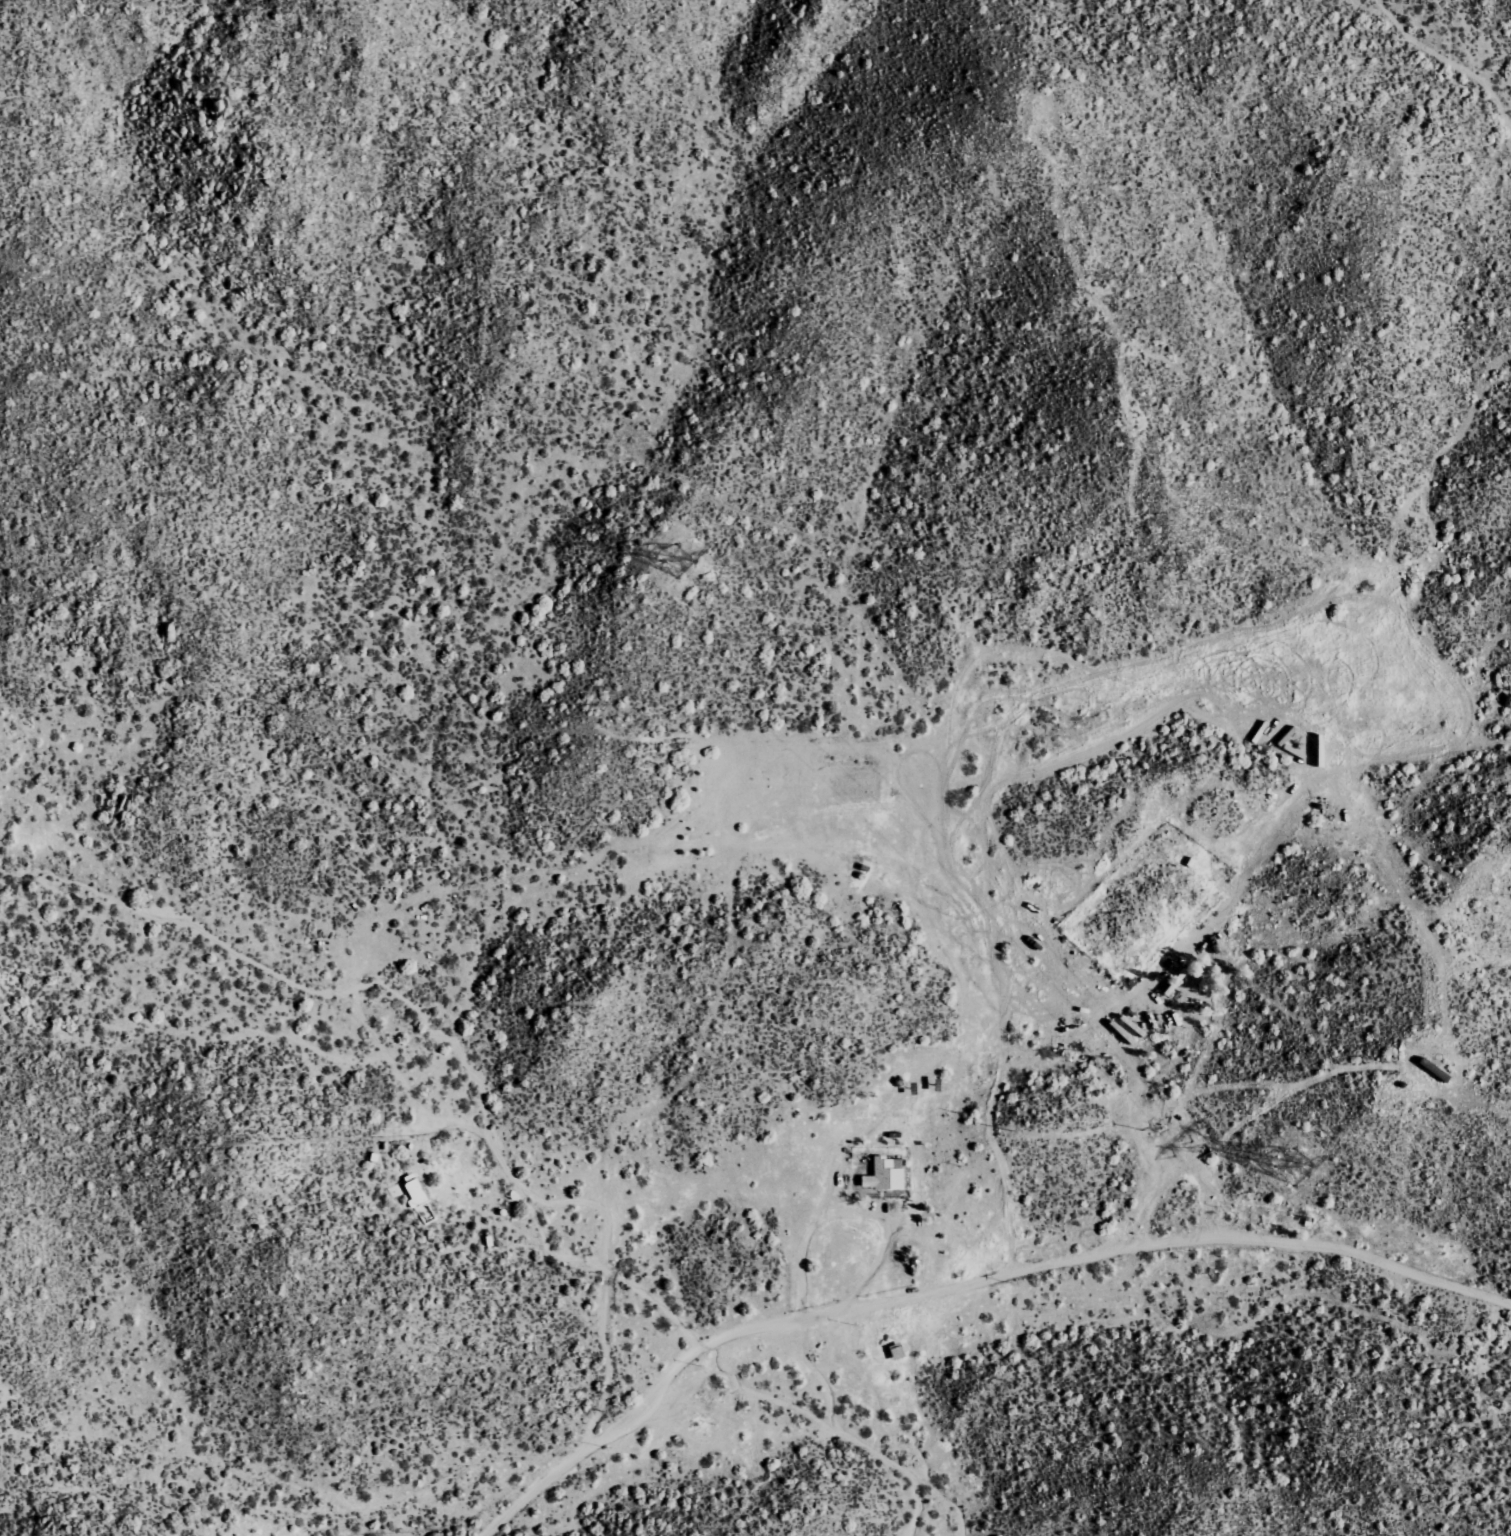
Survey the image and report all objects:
power tower: (703, 557)
power tower: (1282, 1164)
building: (885, 1173)
building: (414, 1189)
road: (968, 1284)

